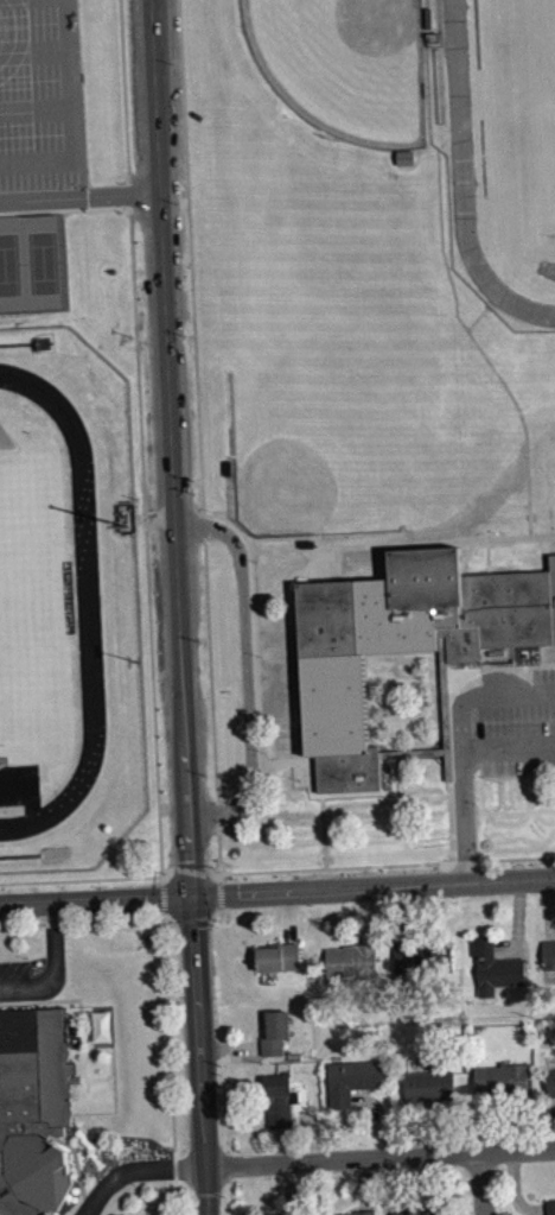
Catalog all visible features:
building: (427, 17)
road: (34, 49)
park: (346, 63)
parking lot: (40, 95)
road: (36, 107)
track: (460, 110)
road: (71, 116)
building: (404, 156)
road: (79, 196)
road: (65, 208)
road: (440, 232)
park: (43, 261)
park: (8, 264)
road: (192, 287)
road: (517, 409)
park: (358, 420)
road: (140, 436)
road: (172, 447)
park: (547, 464)
road: (542, 536)
road: (509, 538)
road: (487, 544)
track: (87, 597)
park: (27, 603)
road: (253, 603)
building: (402, 640)
road: (535, 665)
road: (210, 669)
road: (245, 669)
road: (506, 688)
parking lot: (515, 720)
road: (508, 742)
road: (461, 789)
road: (449, 821)
road: (503, 858)
road: (187, 869)
road: (268, 869)
road: (83, 878)
road: (277, 890)
road: (162, 896)
traffic signals: (191, 896)
road: (213, 896)
road: (187, 919)
road: (81, 920)
building: (548, 951)
building: (277, 956)
building: (351, 960)
building: (421, 960)
road: (50, 962)
building: (493, 966)
parking lot: (14, 970)
building: (275, 1032)
road: (168, 1037)
road: (230, 1048)
road: (200, 1055)
building: (353, 1081)
building: (499, 1081)
building: (550, 1082)
building: (428, 1086)
building: (277, 1099)
building: (33, 1109)
road: (378, 1119)
road: (487, 1126)
road: (416, 1128)
road: (281, 1145)
road: (381, 1157)
road: (138, 1171)
road: (483, 1183)
road: (363, 1184)
road: (397, 1184)
road: (176, 1186)
road: (289, 1188)
road: (515, 1191)
building: (550, 1207)
building: (363, 1211)
building: (294, 1213)
building: (414, 1213)

